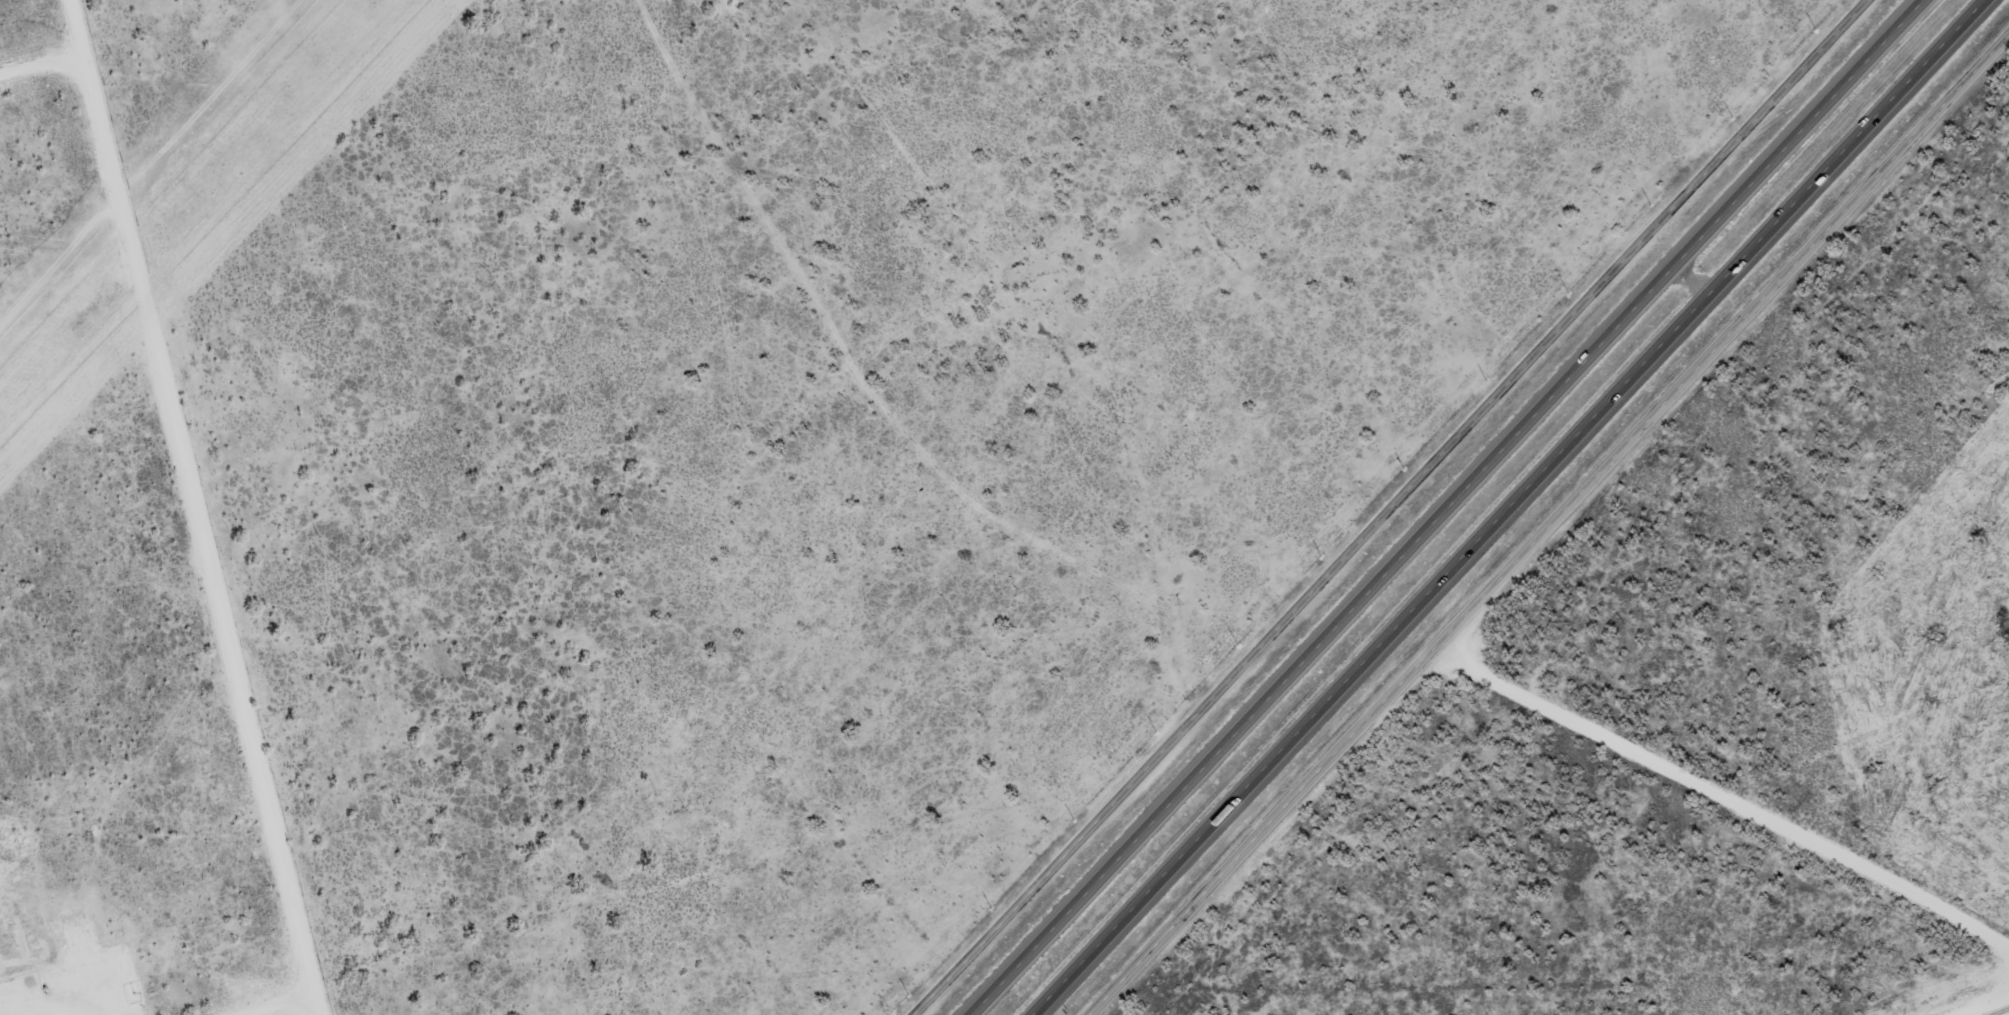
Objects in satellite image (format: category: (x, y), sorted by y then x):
road: (164, 361)
road: (1381, 504)
road: (1506, 506)
road: (1445, 507)
road: (1542, 520)
road: (287, 869)
railway: (2000, 1011)

